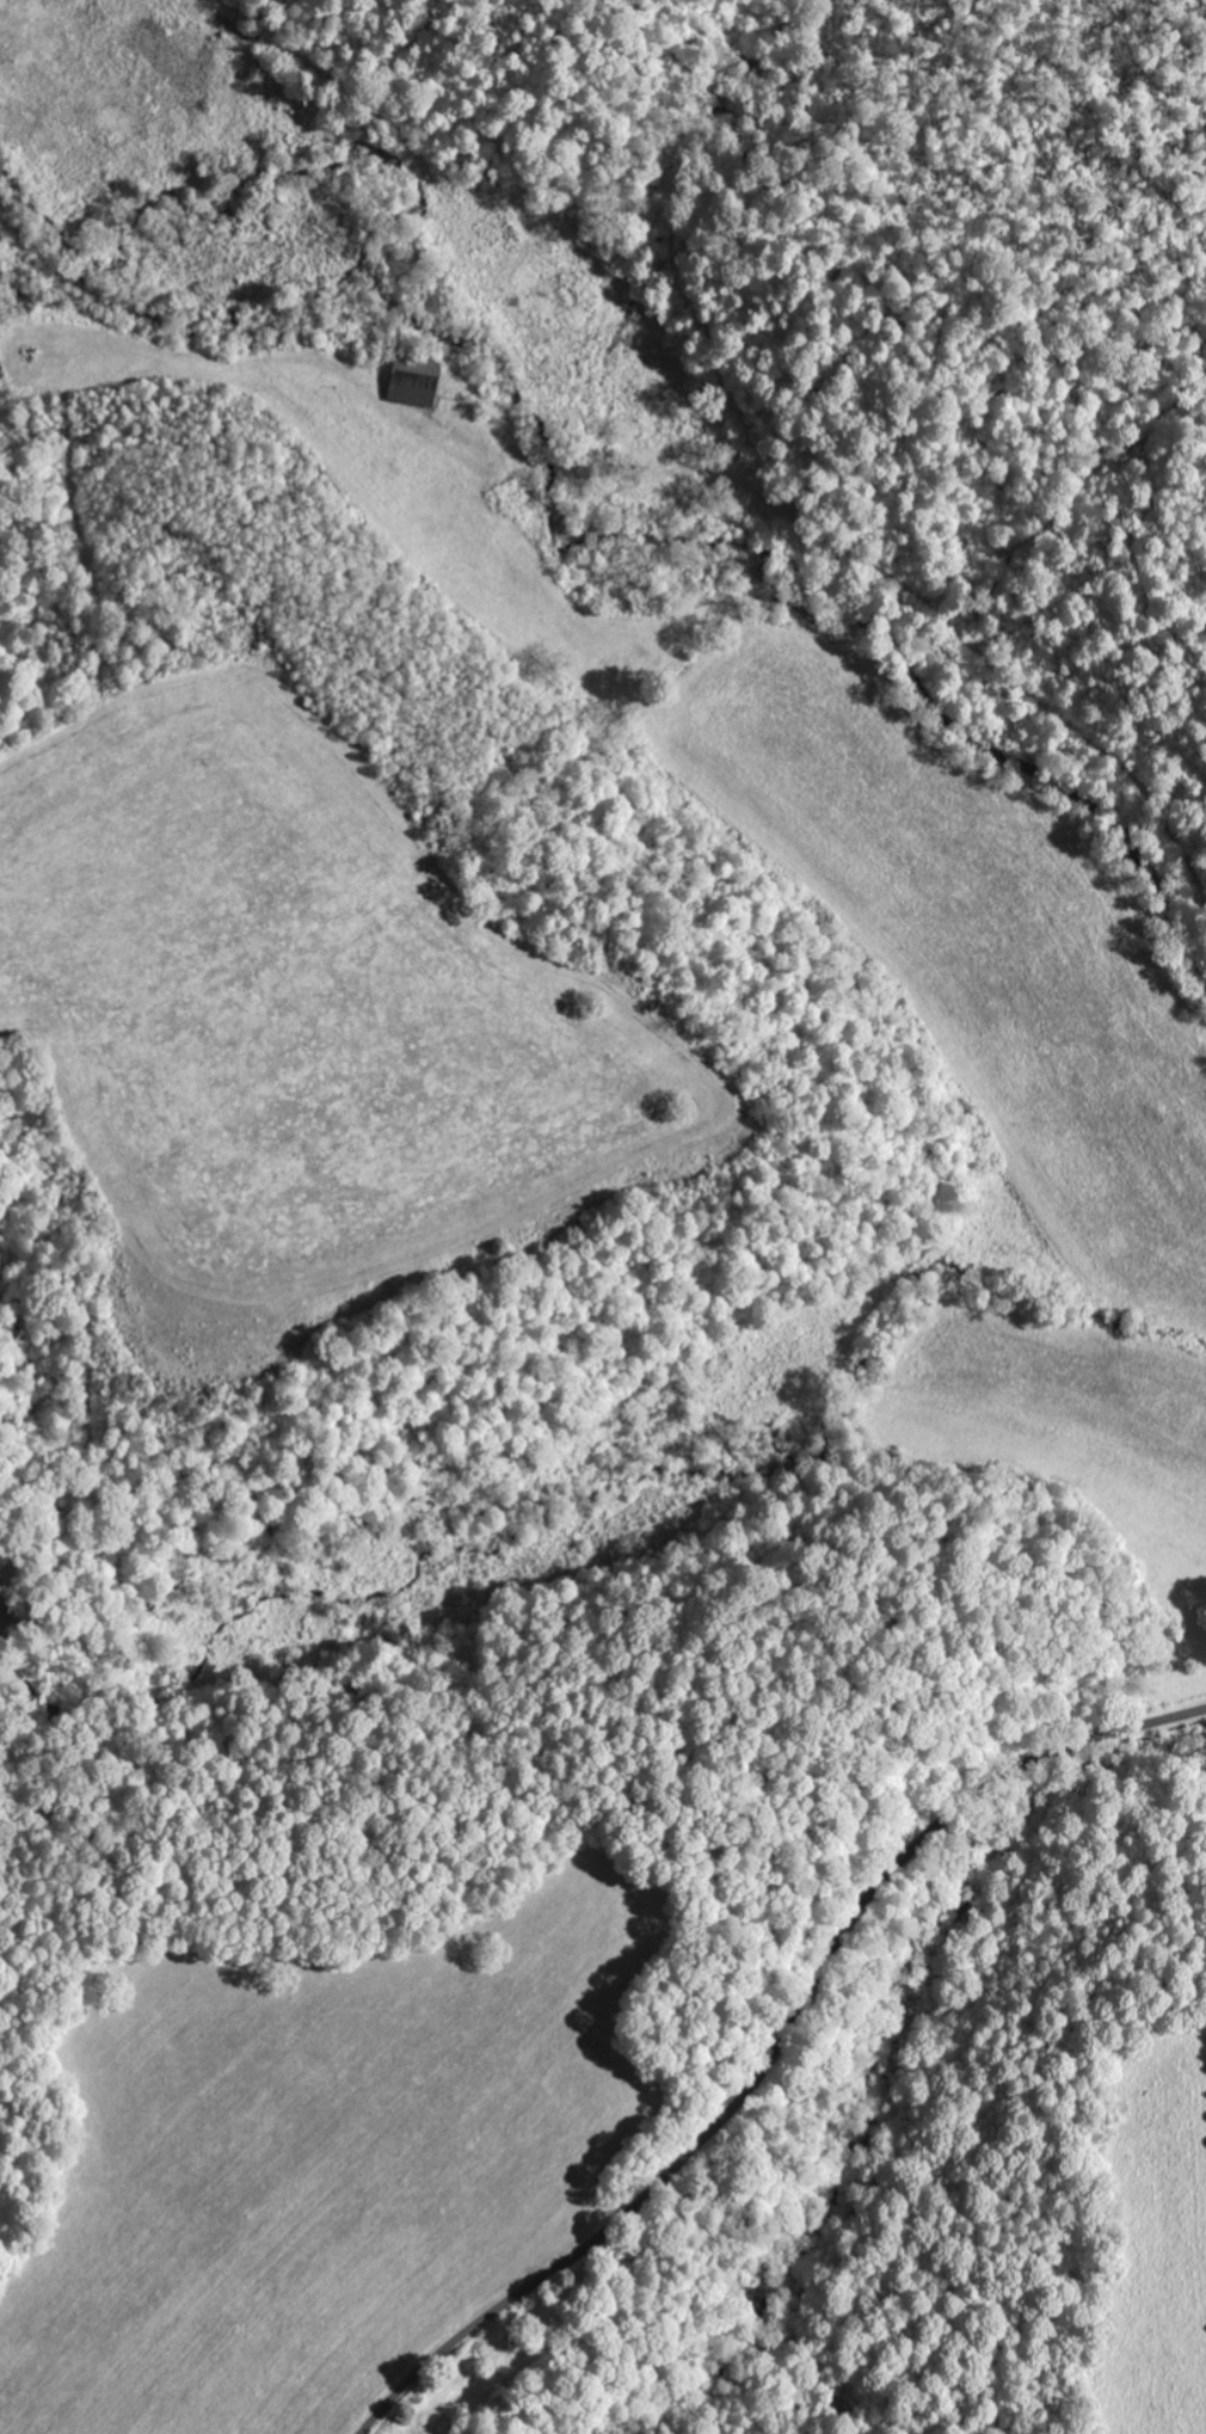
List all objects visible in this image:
road: (422, 18)
building: (422, 381)
road: (426, 398)
road: (774, 473)
road: (777, 2048)

